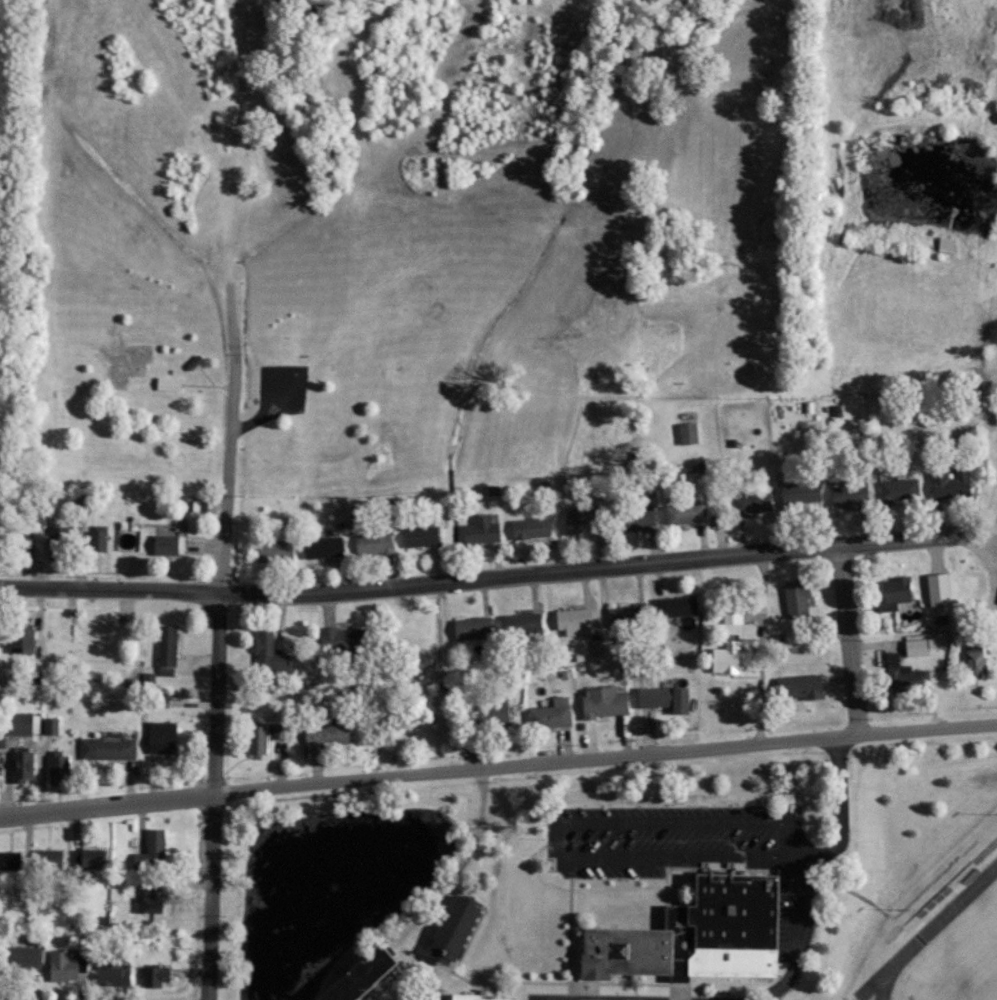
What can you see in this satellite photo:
park: (390, 239)
building: (167, 383)
parking lot: (281, 385)
road: (243, 417)
building: (686, 432)
road: (229, 439)
building: (949, 483)
building: (898, 490)
building: (799, 492)
building: (848, 495)
building: (750, 503)
building: (82, 505)
building: (684, 513)
road: (996, 514)
road: (996, 515)
building: (634, 517)
building: (583, 520)
road: (977, 524)
building: (530, 528)
building: (480, 530)
building: (127, 534)
building: (58, 535)
building: (418, 536)
building: (97, 538)
building: (372, 543)
building: (166, 544)
building: (22, 547)
building: (321, 547)
building: (273, 551)
road: (479, 577)
building: (937, 589)
building: (893, 593)
building: (795, 599)
building: (674, 606)
building: (731, 612)
building: (573, 621)
building: (520, 623)
building: (471, 628)
building: (20, 638)
road: (847, 638)
building: (338, 639)
building: (166, 645)
building: (917, 646)
building: (267, 654)
building: (724, 658)
building: (974, 661)
building: (903, 674)
building: (797, 687)
building: (662, 698)
building: (602, 701)
building: (495, 714)
building: (550, 714)
building: (21, 724)
building: (625, 724)
building: (51, 725)
building: (278, 730)
building: (325, 733)
building: (159, 736)
building: (255, 737)
building: (2, 738)
building: (106, 747)
building: (21, 765)
road: (498, 765)
building: (57, 767)
road: (213, 795)
parking lot: (669, 835)
building: (154, 847)
building: (89, 857)
building: (47, 859)
building: (9, 860)
road: (792, 861)
building: (149, 899)
parking lot: (794, 911)
road: (897, 912)
building: (451, 929)
track: (923, 932)
building: (691, 933)
building: (22, 958)
park: (965, 963)
building: (62, 966)
building: (113, 973)
building: (153, 976)
building: (358, 978)
road: (539, 978)
road: (620, 984)
road: (623, 992)
road: (375, 998)
building: (477, 998)
road: (558, 998)

